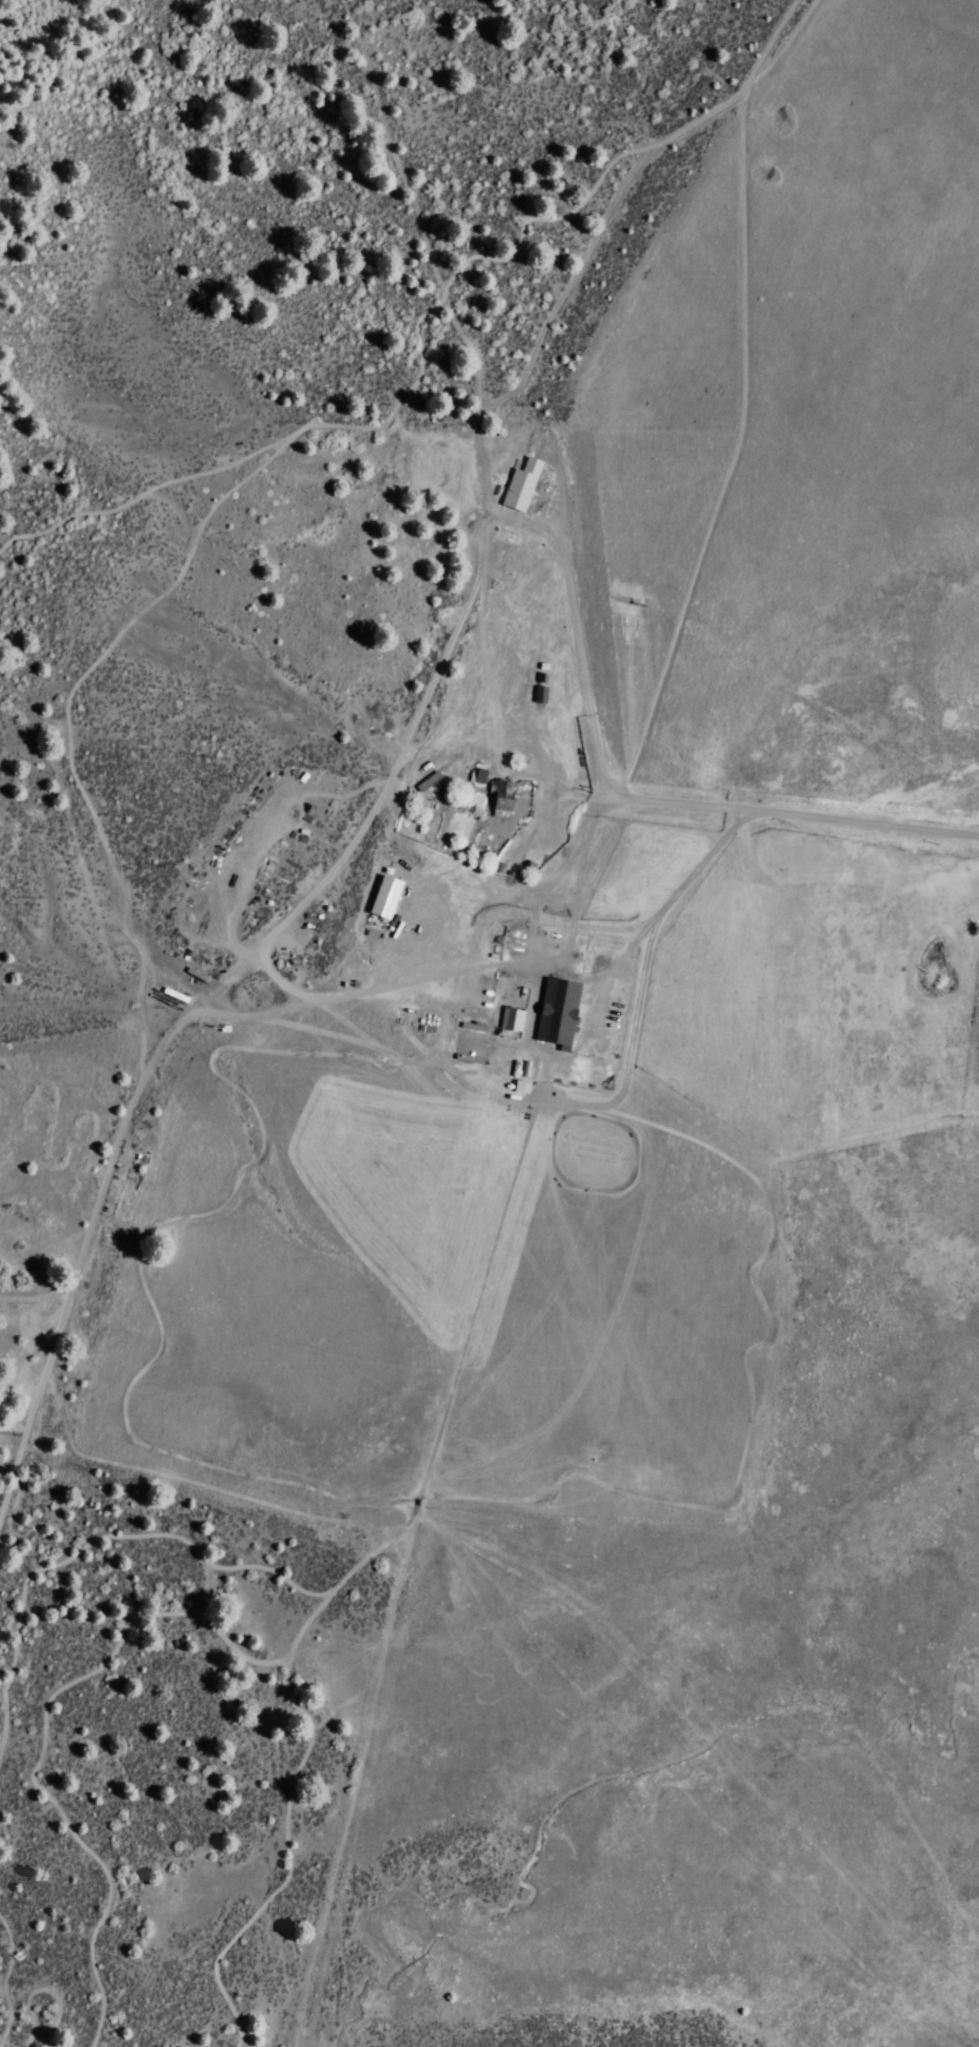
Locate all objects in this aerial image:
road: (288, 438)
building: (519, 481)
road: (147, 489)
building: (539, 692)
building: (475, 774)
building: (500, 794)
road: (788, 813)
building: (383, 896)
road: (239, 953)
building: (556, 1010)
building: (510, 1018)
road: (307, 1060)
building: (519, 1086)
road: (556, 1105)
crop: (507, 1160)
road: (656, 1212)
road: (35, 1297)
road: (383, 1309)
road: (298, 1347)
road: (443, 1407)
road: (211, 1465)
road: (190, 1480)
road: (97, 1535)
road: (180, 1612)
road: (3, 1980)
road: (40, 1988)

